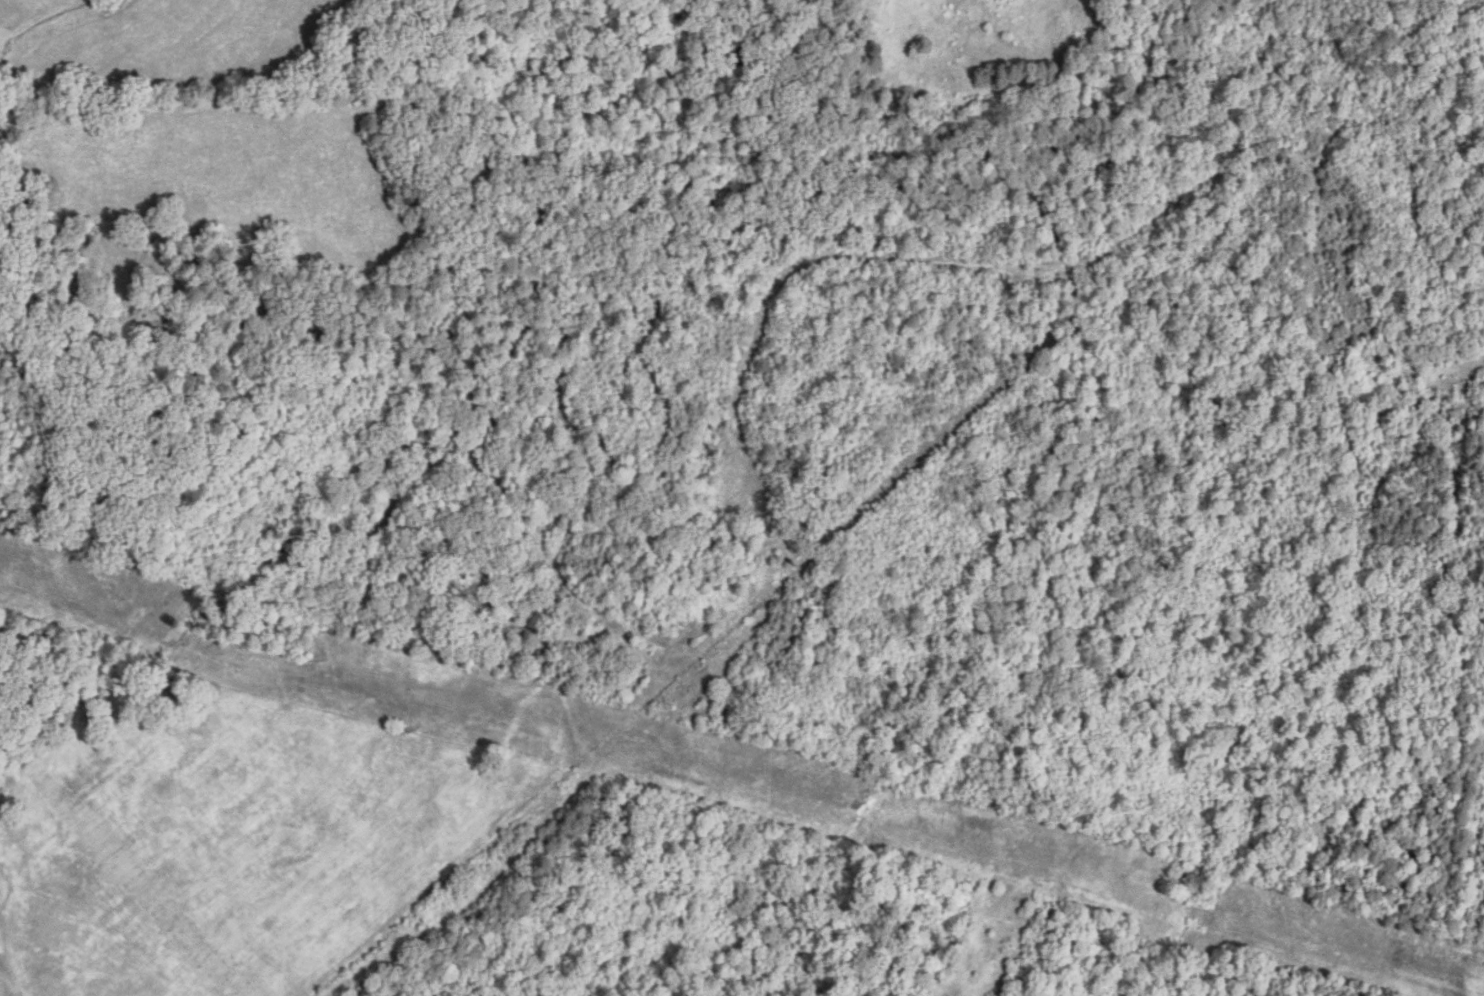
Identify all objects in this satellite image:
building: (742, 58)

